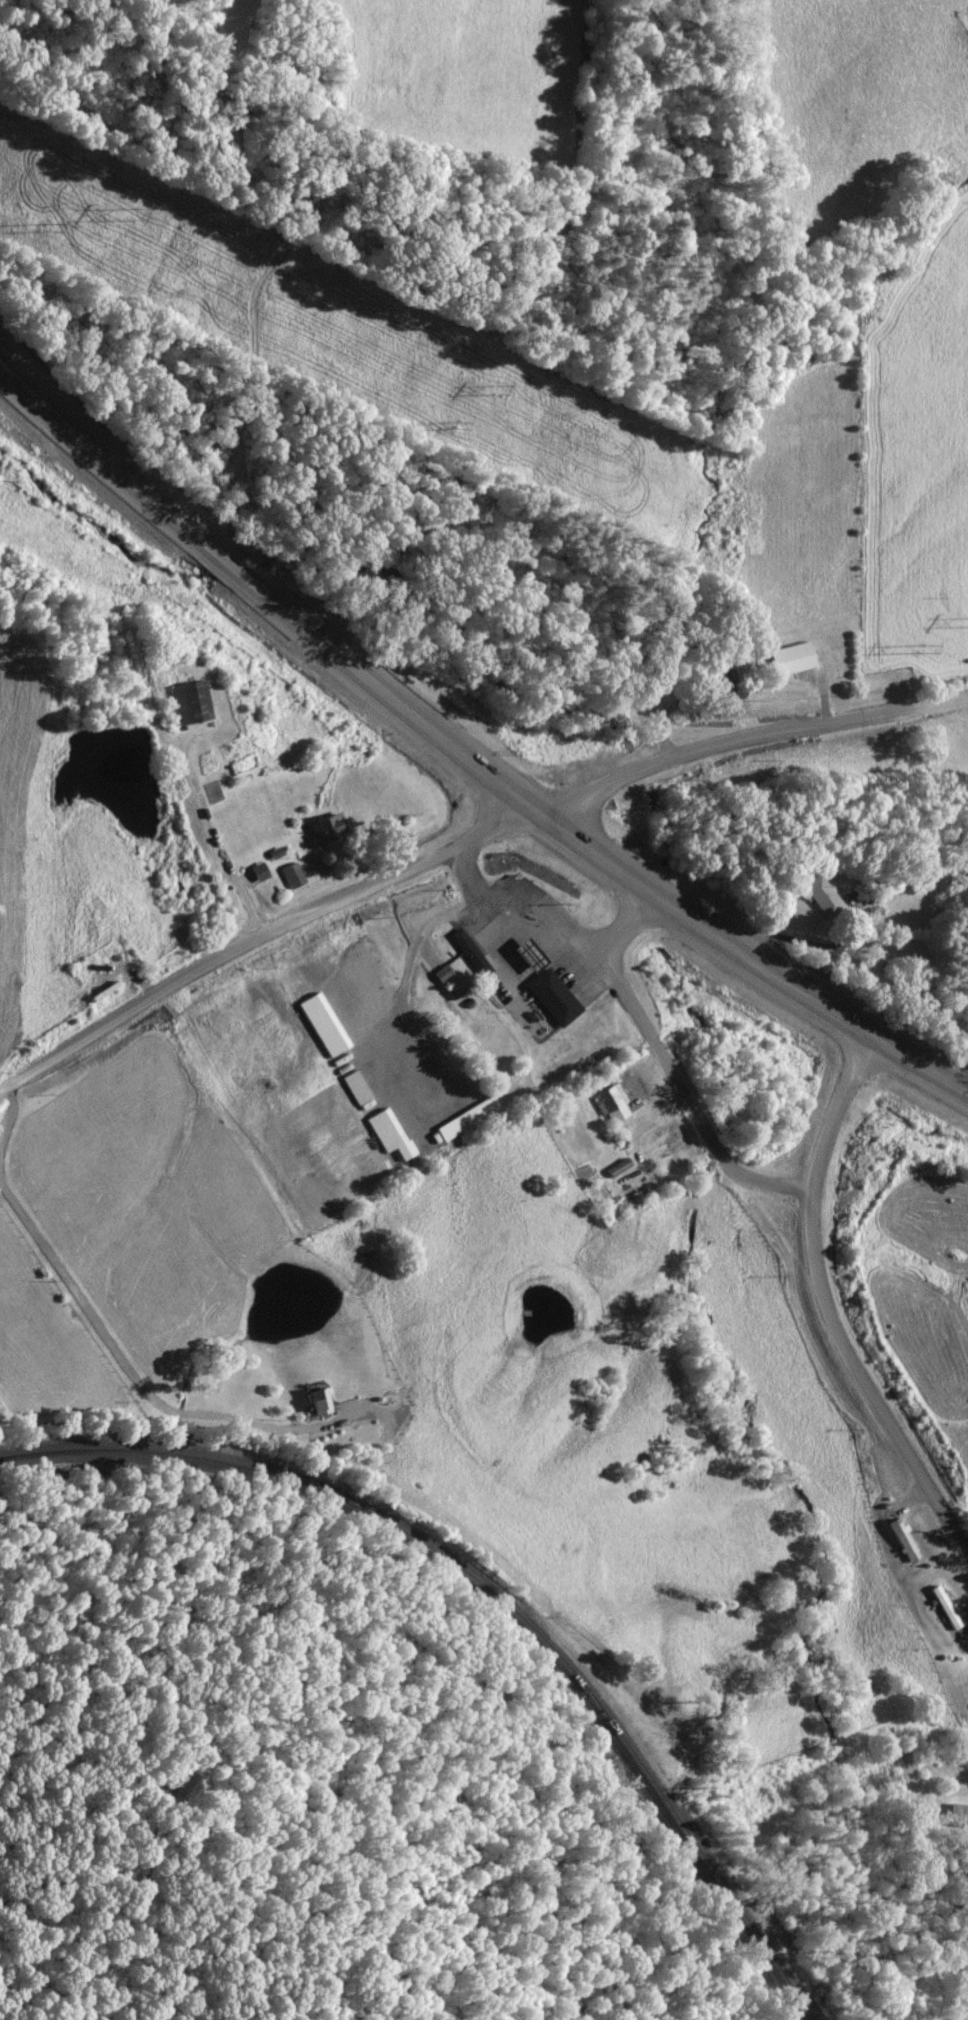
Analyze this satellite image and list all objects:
building: (793, 657)
building: (193, 701)
road: (748, 738)
road: (460, 748)
building: (327, 829)
building: (294, 874)
building: (824, 896)
road: (522, 900)
road: (267, 950)
building: (469, 950)
building: (443, 973)
building: (555, 996)
building: (356, 1088)
building: (613, 1103)
road: (837, 1104)
building: (467, 1117)
building: (390, 1133)
road: (806, 1190)
building: (906, 1539)
railway: (494, 1595)
building: (946, 1607)
building: (958, 1813)

